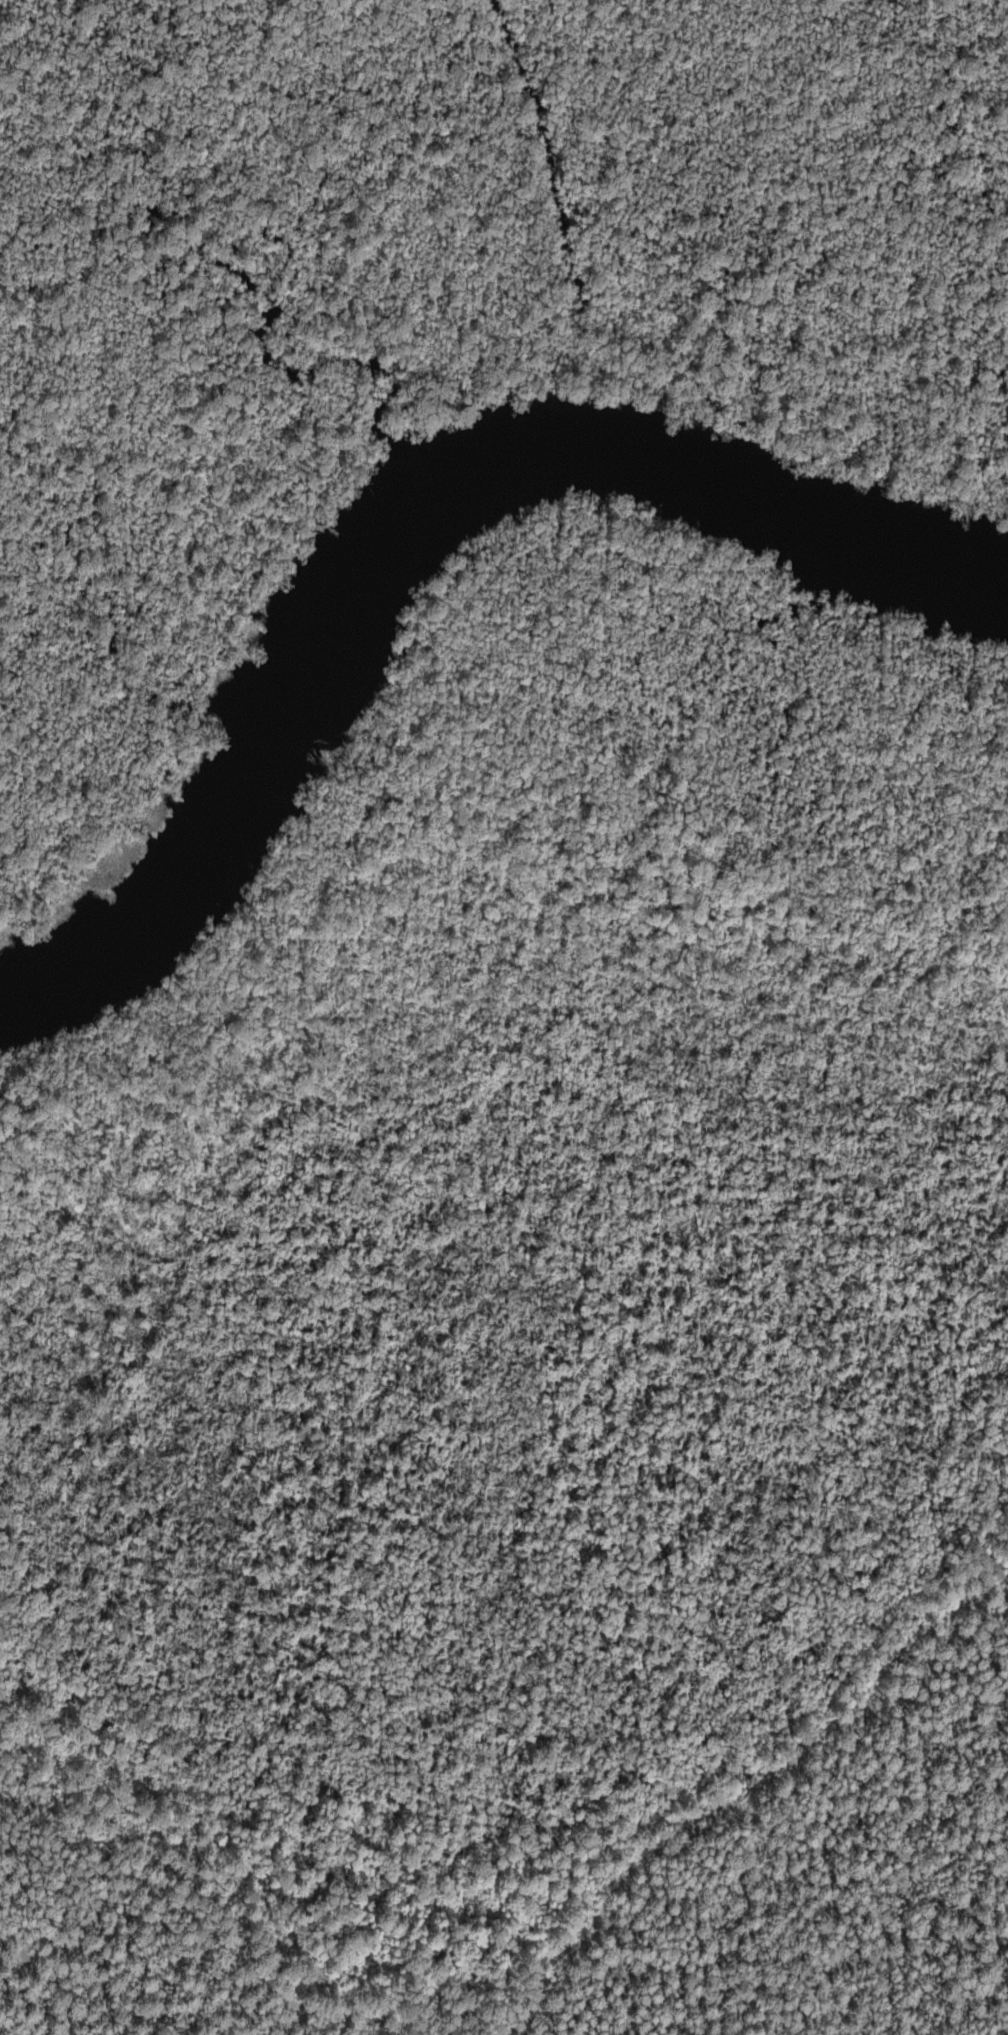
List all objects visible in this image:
road: (117, 1785)
road: (252, 1939)

